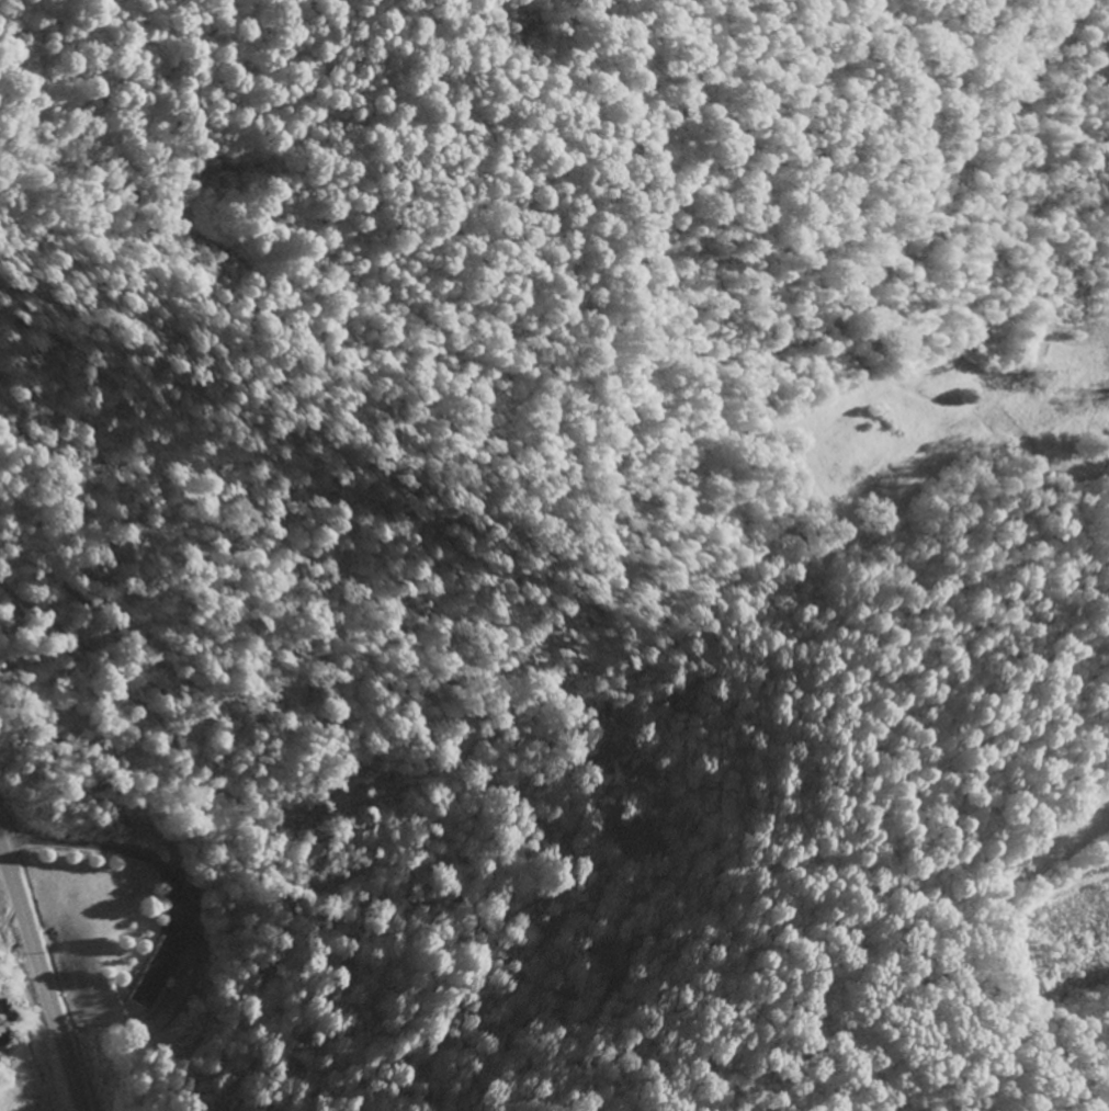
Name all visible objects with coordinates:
road: (1009, 373)
road: (543, 823)
building: (152, 972)
road: (43, 976)

